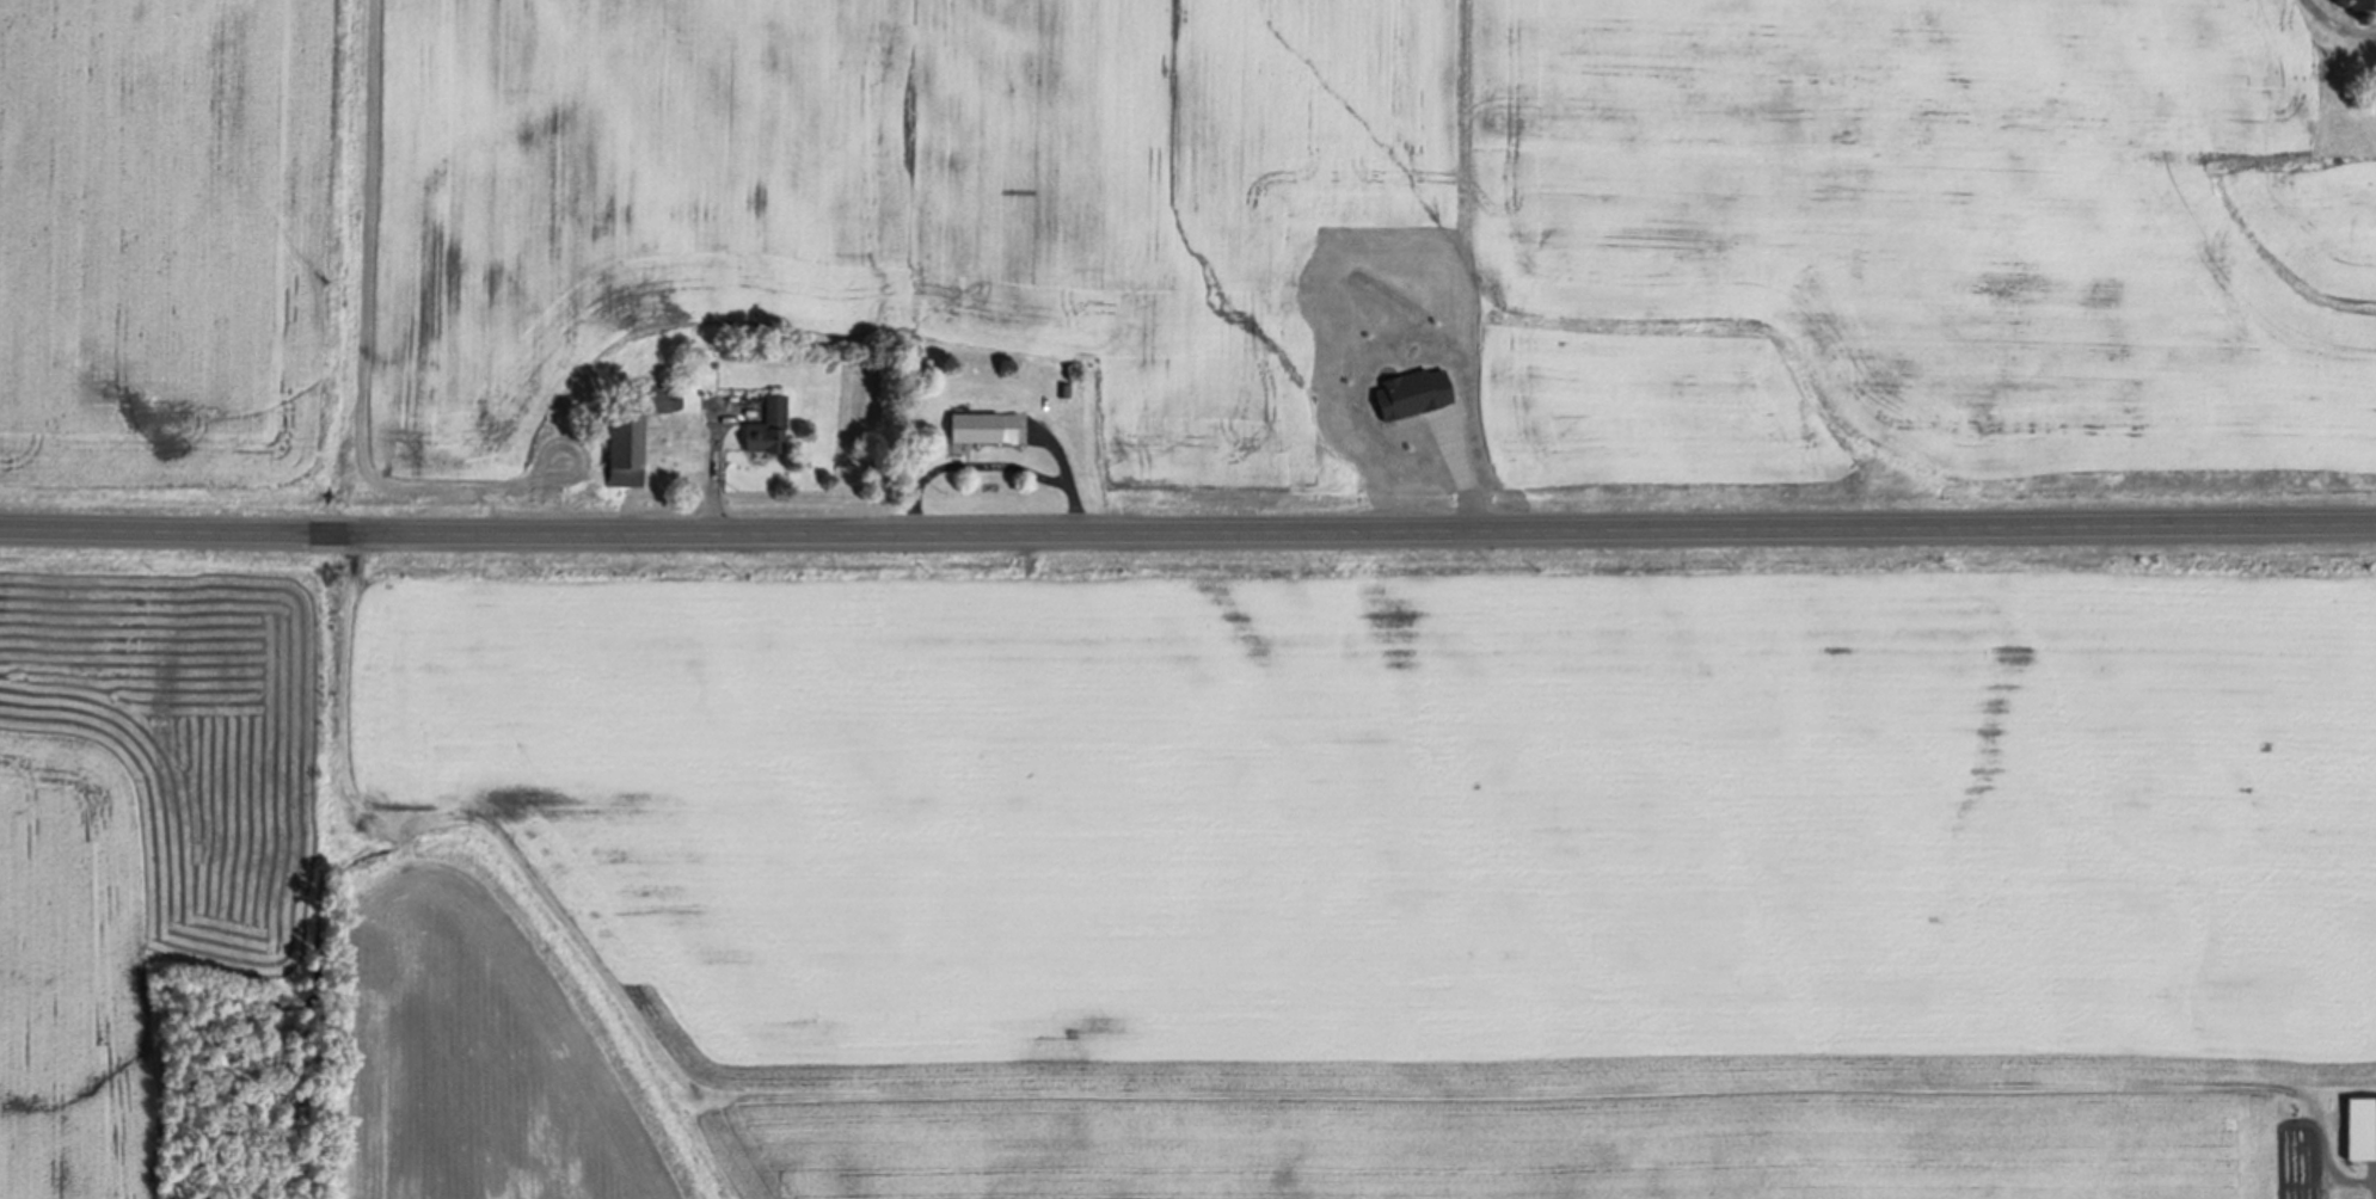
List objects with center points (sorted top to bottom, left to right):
building: (2340, 0)
building: (2363, 0)
building: (2364, 14)
road: (2337, 24)
building: (1066, 387)
building: (725, 406)
building: (597, 418)
building: (768, 423)
building: (983, 423)
building: (634, 428)
road: (990, 463)
road: (716, 469)
road: (1187, 535)
building: (2360, 1125)

